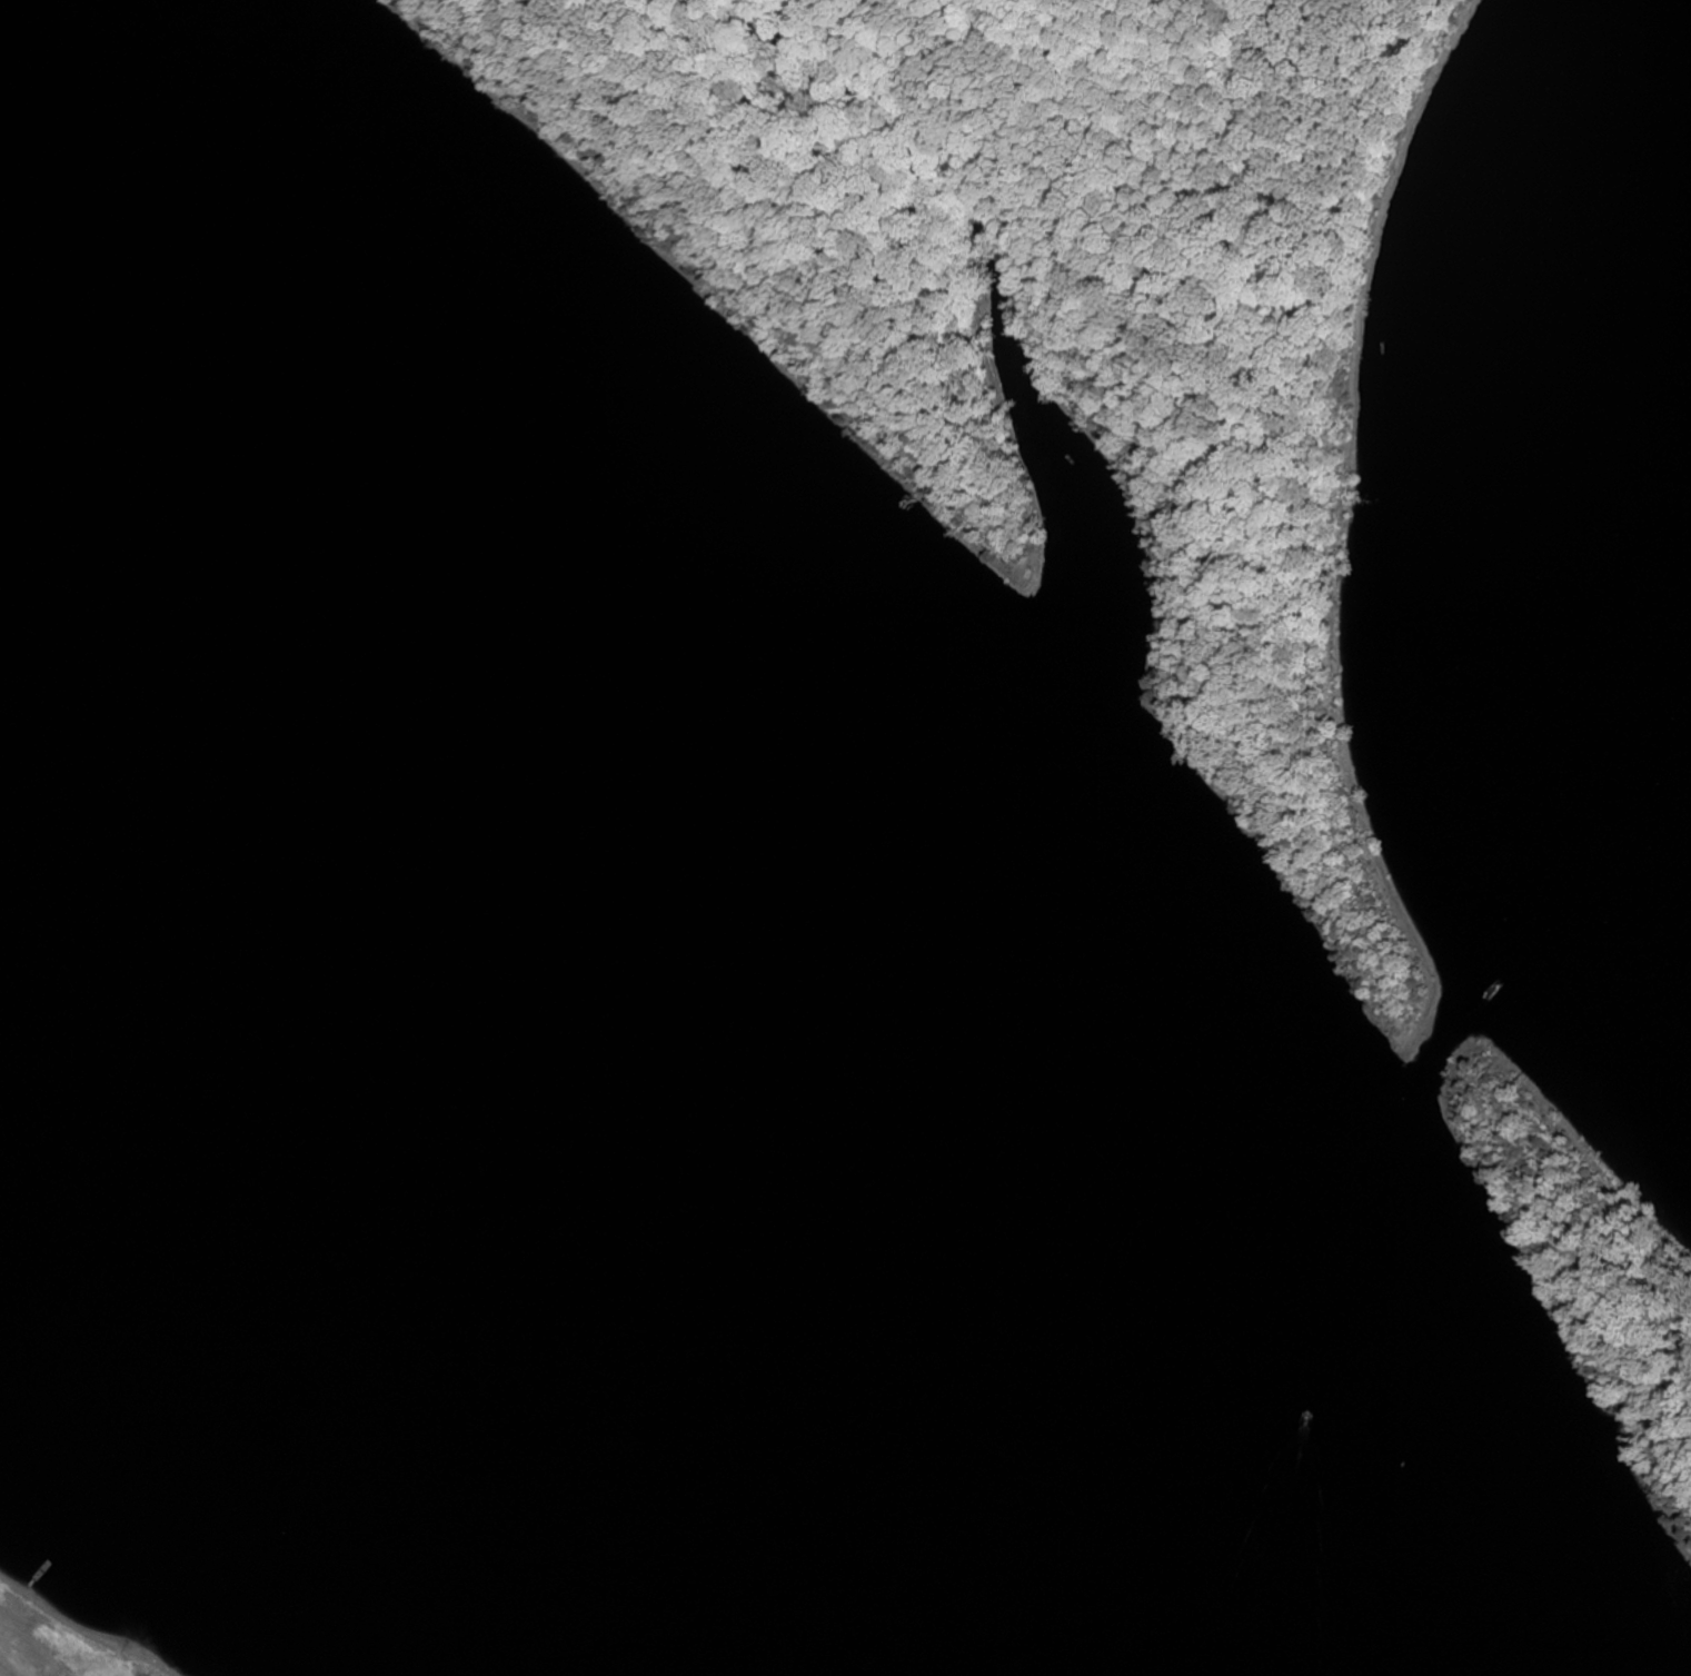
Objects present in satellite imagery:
park: (70, 1636)

